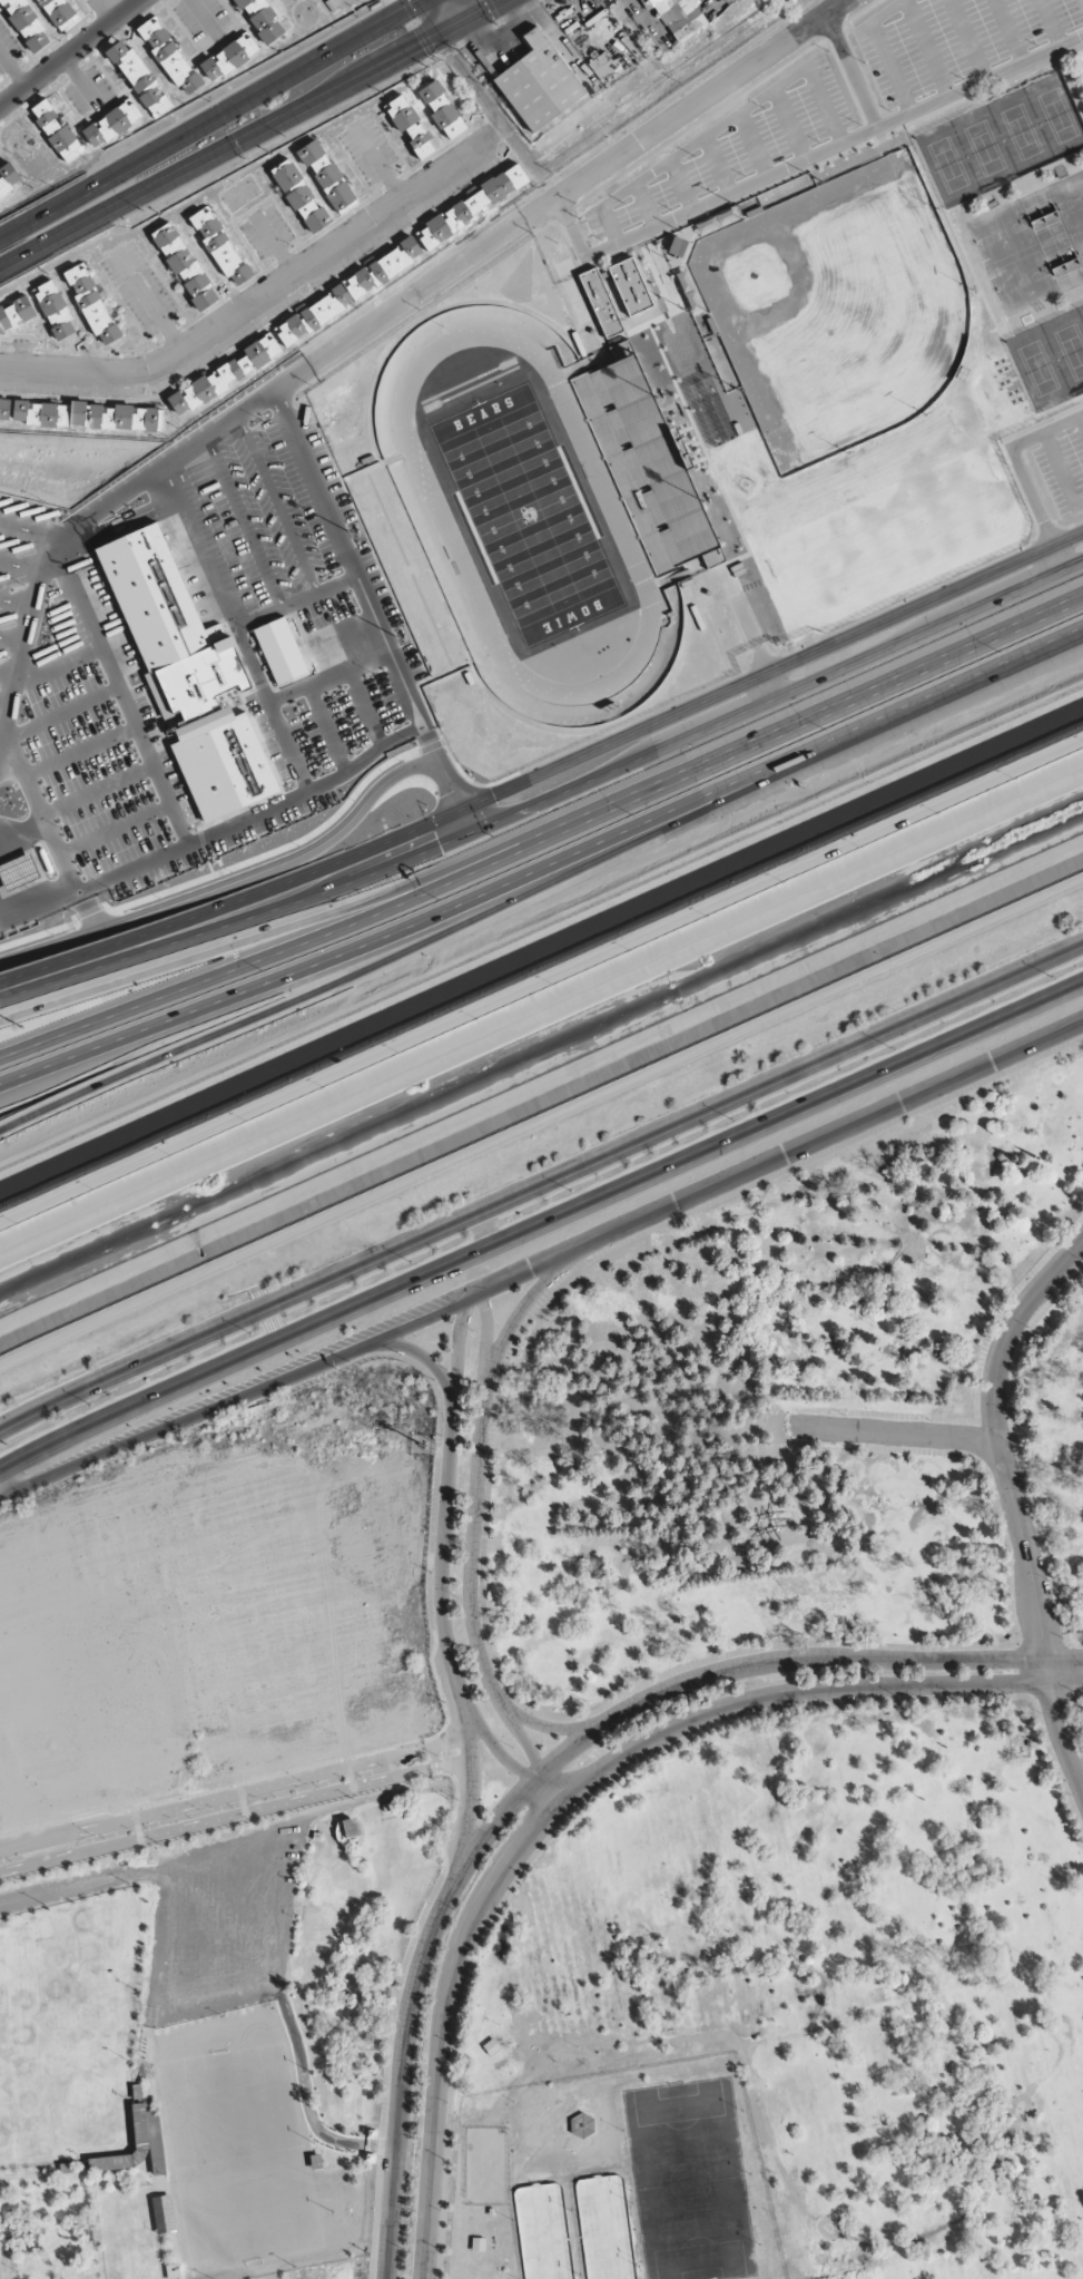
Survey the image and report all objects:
building: (380, 0)
building: (57, 11)
road: (451, 13)
building: (679, 17)
building: (260, 19)
road: (1048, 23)
building: (24, 25)
road: (1008, 31)
parking lot: (952, 39)
road: (967, 39)
road: (926, 48)
road: (882, 49)
road: (70, 52)
building: (169, 56)
building: (229, 57)
building: (601, 65)
road: (850, 70)
building: (139, 78)
building: (540, 81)
road: (259, 92)
road: (489, 102)
road: (314, 104)
building: (442, 109)
park: (1057, 115)
road: (722, 121)
building: (112, 123)
road: (790, 124)
building: (410, 125)
building: (57, 131)
park: (1021, 131)
road: (754, 144)
parking lot: (732, 145)
park: (985, 148)
road: (803, 160)
road: (718, 164)
park: (948, 165)
building: (326, 175)
building: (9, 179)
road: (680, 185)
building: (790, 185)
building: (301, 196)
park: (1070, 199)
building: (474, 204)
road: (644, 205)
road: (47, 212)
road: (525, 216)
park: (1002, 234)
road: (59, 237)
park: (1079, 242)
building: (220, 246)
building: (185, 266)
park: (1022, 281)
building: (631, 285)
road: (265, 288)
building: (347, 293)
building: (601, 302)
park: (841, 303)
building: (91, 304)
building: (55, 310)
building: (16, 313)
building: (622, 349)
park: (1072, 349)
building: (726, 353)
park: (1038, 368)
building: (224, 375)
building: (4, 410)
building: (86, 415)
road: (1082, 419)
building: (648, 462)
parking lot: (1062, 470)
road: (1061, 473)
road: (1034, 509)
stadium: (525, 513)
park: (526, 515)
road: (955, 516)
track: (442, 519)
road: (843, 521)
road: (919, 531)
road: (883, 548)
building: (715, 555)
parking lot: (887, 556)
road: (847, 565)
road: (810, 581)
road: (900, 585)
road: (926, 603)
road: (932, 628)
building: (214, 732)
road: (778, 733)
road: (807, 754)
road: (390, 838)
road: (396, 862)
road: (236, 942)
road: (237, 964)
road: (265, 984)
road: (269, 1010)
river: (541, 1052)
road: (541, 1133)
road: (772, 1154)
road: (540, 1181)
road: (540, 1220)
road: (522, 1301)
road: (416, 1353)
road: (232, 1399)
road: (1020, 1454)
road: (1011, 1505)
road: (442, 1506)
road: (472, 1553)
park: (791, 1732)
road: (233, 1792)
road: (234, 1816)
road: (68, 1847)
road: (289, 1870)
parking lot: (217, 1925)
park: (58, 1994)
park: (57, 2105)
park: (237, 2143)
park: (688, 2179)
parking lot: (334, 2269)
park: (266, 2278)

